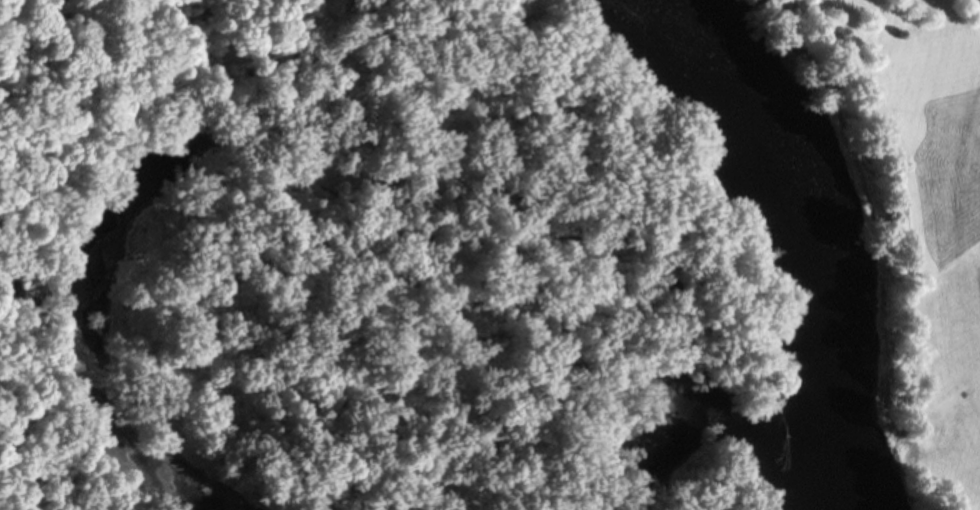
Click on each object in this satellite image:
river: (688, 55)
river: (816, 308)

